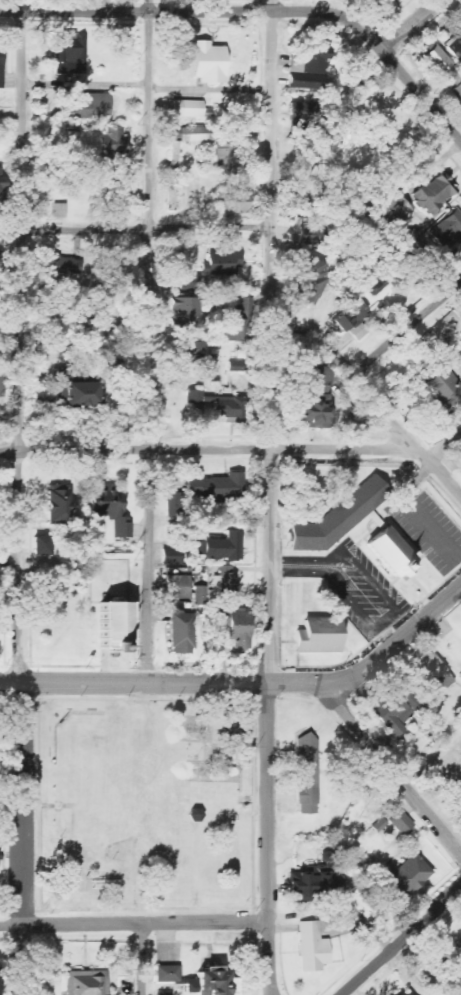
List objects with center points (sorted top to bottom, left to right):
building: (384, 2)
road: (162, 12)
building: (459, 17)
road: (410, 25)
building: (68, 56)
building: (311, 58)
building: (437, 60)
building: (2, 63)
building: (209, 63)
road: (398, 69)
building: (307, 78)
road: (86, 84)
building: (307, 85)
road: (210, 89)
building: (457, 91)
building: (88, 105)
building: (188, 108)
building: (301, 112)
building: (173, 134)
building: (199, 135)
building: (112, 144)
building: (434, 195)
building: (233, 203)
building: (59, 210)
building: (391, 213)
road: (135, 229)
building: (448, 231)
building: (311, 236)
building: (224, 264)
building: (63, 266)
building: (311, 281)
building: (188, 307)
building: (352, 320)
building: (233, 330)
road: (405, 332)
road: (151, 341)
building: (190, 349)
building: (321, 379)
building: (445, 389)
building: (75, 390)
road: (366, 396)
building: (229, 409)
building: (315, 412)
road: (208, 449)
building: (218, 488)
road: (21, 497)
road: (270, 497)
building: (58, 504)
building: (176, 504)
building: (339, 518)
building: (44, 546)
building: (221, 547)
building: (392, 554)
building: (172, 556)
building: (226, 583)
building: (177, 585)
building: (200, 595)
building: (105, 626)
building: (239, 630)
building: (182, 634)
building: (320, 637)
road: (394, 642)
building: (433, 676)
road: (160, 683)
building: (412, 703)
building: (393, 714)
road: (391, 772)
building: (308, 776)
road: (10, 806)
park: (146, 806)
building: (401, 822)
building: (409, 875)
building: (304, 885)
road: (134, 923)
road: (401, 942)
building: (313, 947)
building: (458, 953)
road: (141, 959)
building: (167, 974)
building: (210, 982)
building: (87, 983)
building: (405, 992)
building: (164, 993)

